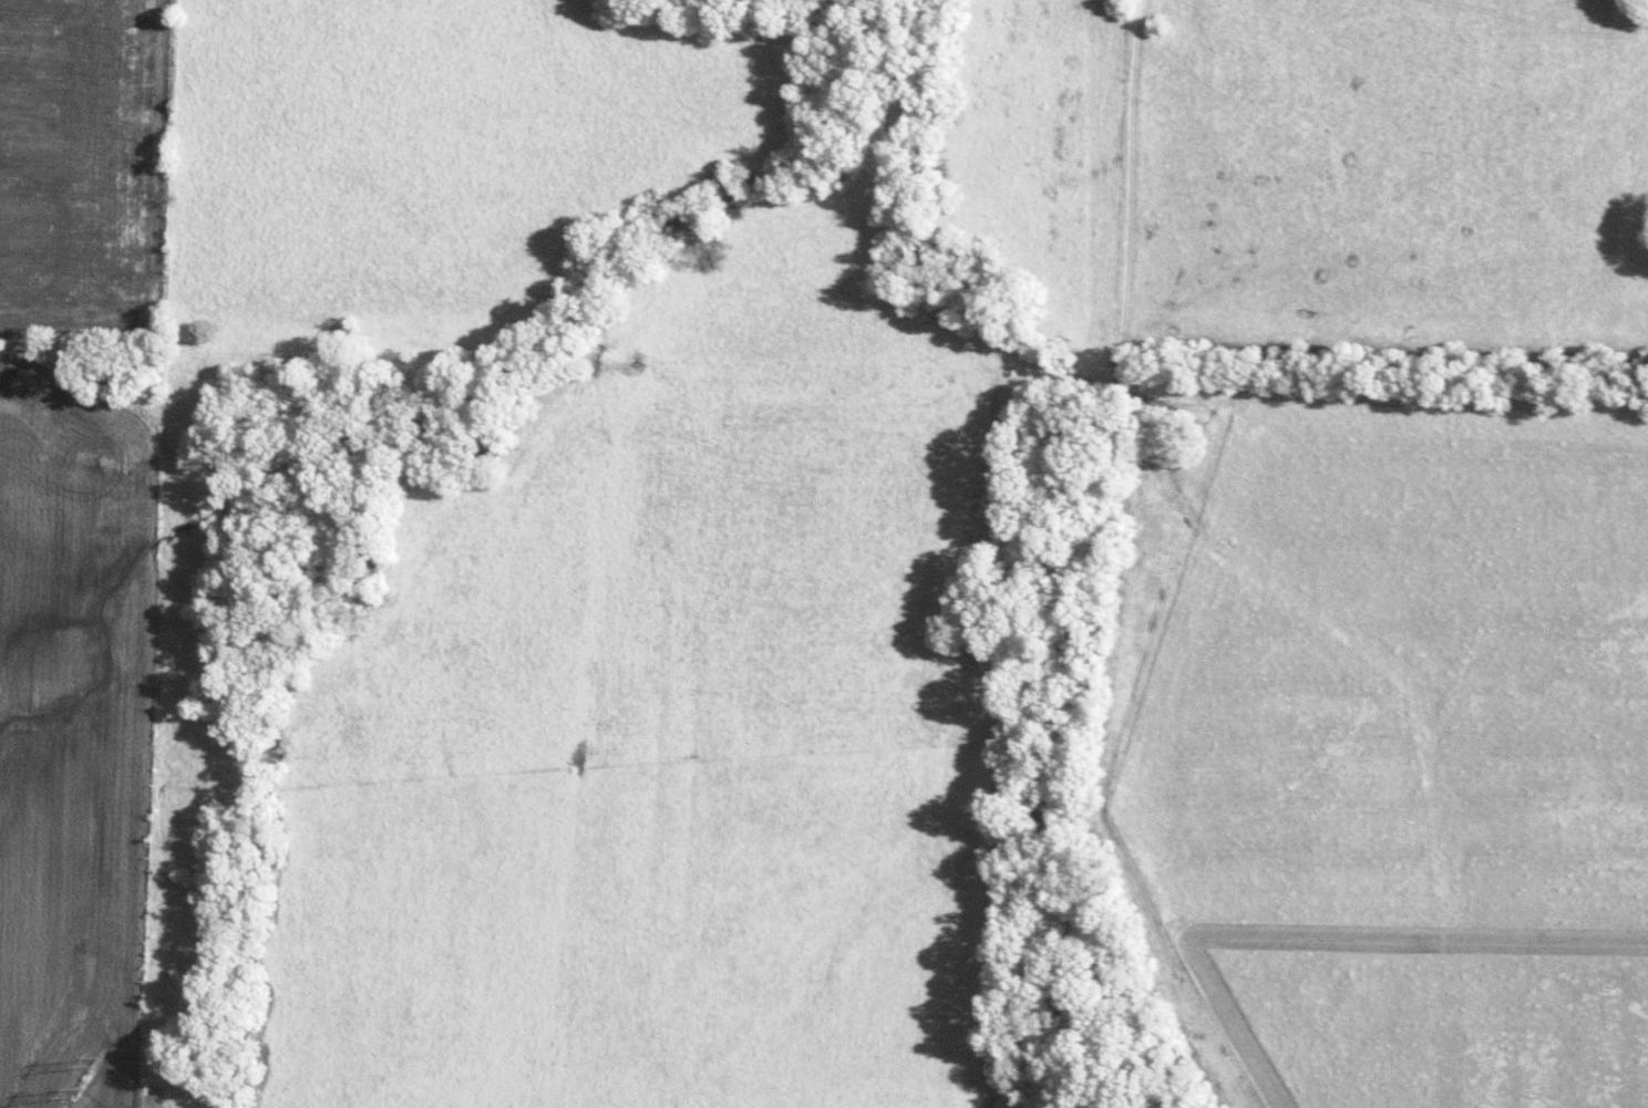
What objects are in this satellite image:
power tower: (89, 1067)
power tower: (69, 1096)

